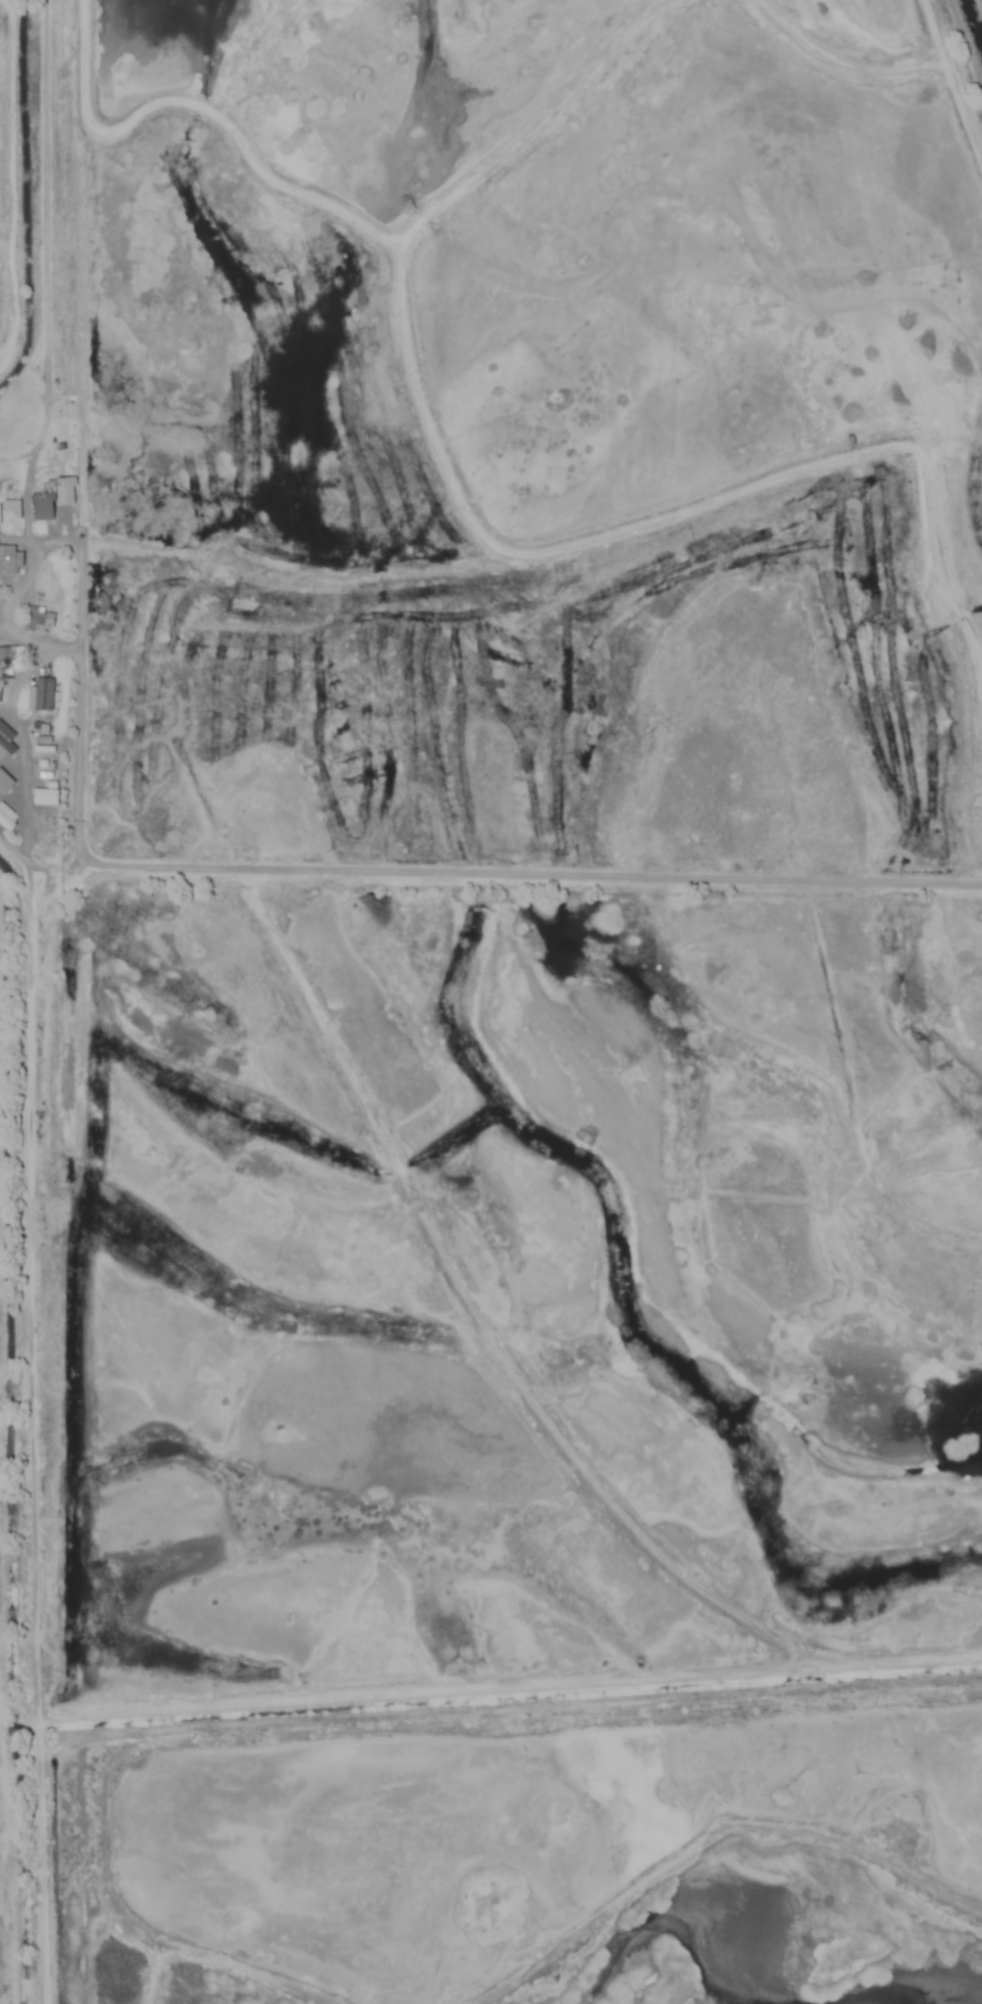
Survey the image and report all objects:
building: (42, 506)
road: (49, 539)
building: (6, 559)
road: (86, 566)
building: (38, 620)
building: (6, 656)
building: (40, 696)
building: (4, 745)
building: (4, 783)
building: (6, 822)
road: (534, 879)

